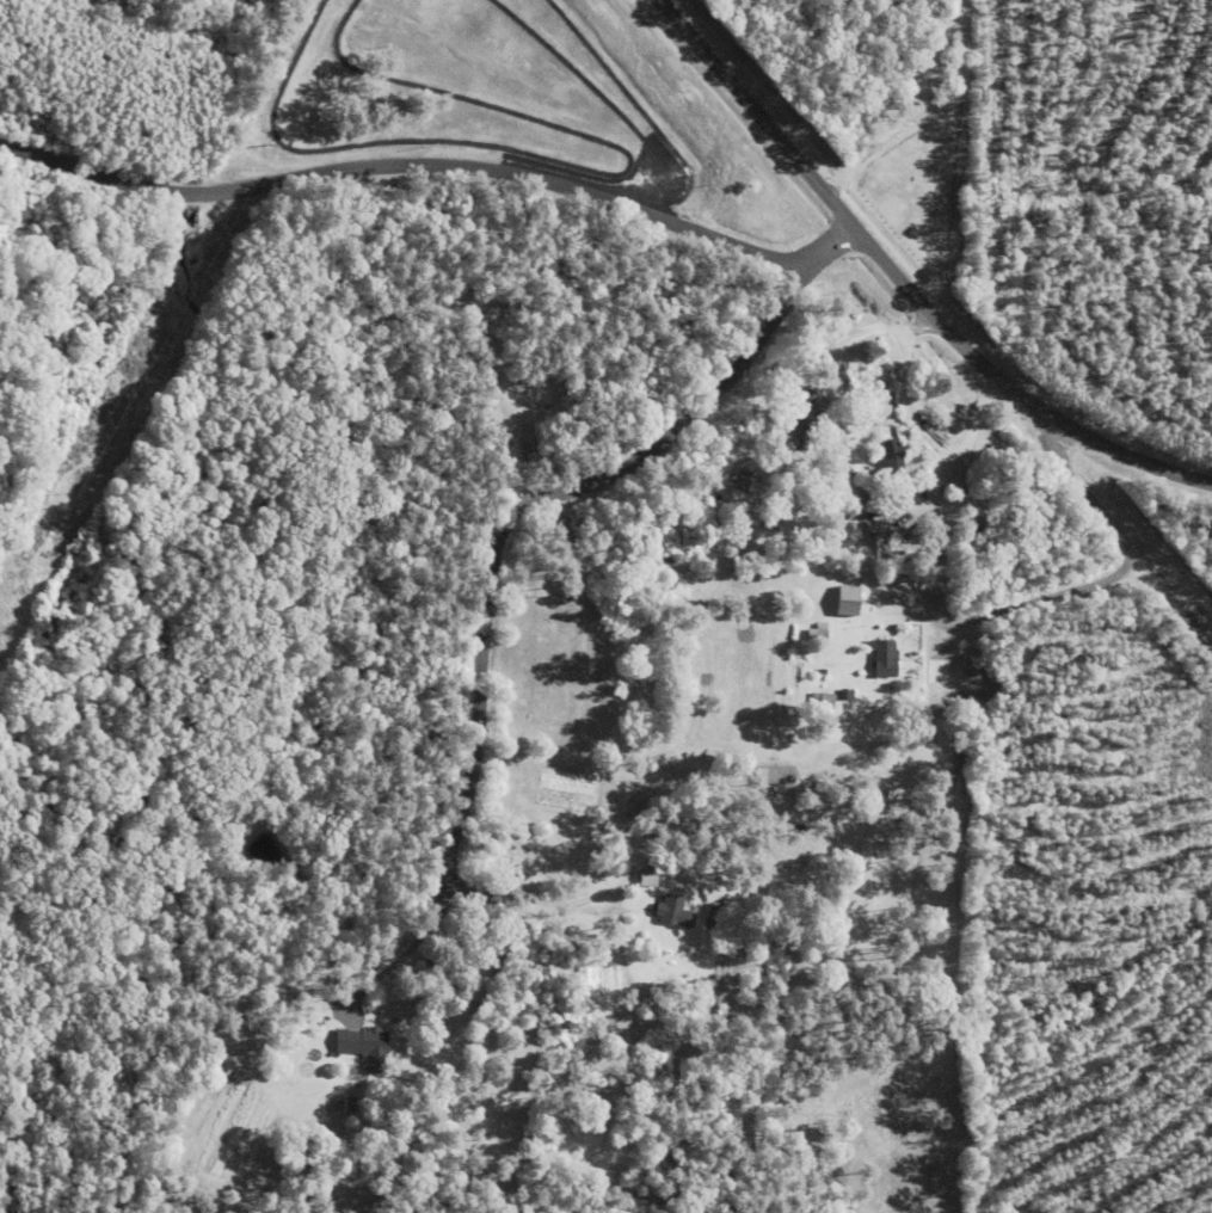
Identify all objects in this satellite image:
road: (402, 162)
road: (900, 284)
building: (885, 457)
road: (549, 501)
road: (1120, 536)
road: (935, 577)
building: (845, 602)
building: (814, 633)
building: (880, 658)
building: (818, 700)
road: (561, 903)
building: (669, 912)
building: (712, 918)
road: (407, 954)
building: (358, 1043)

